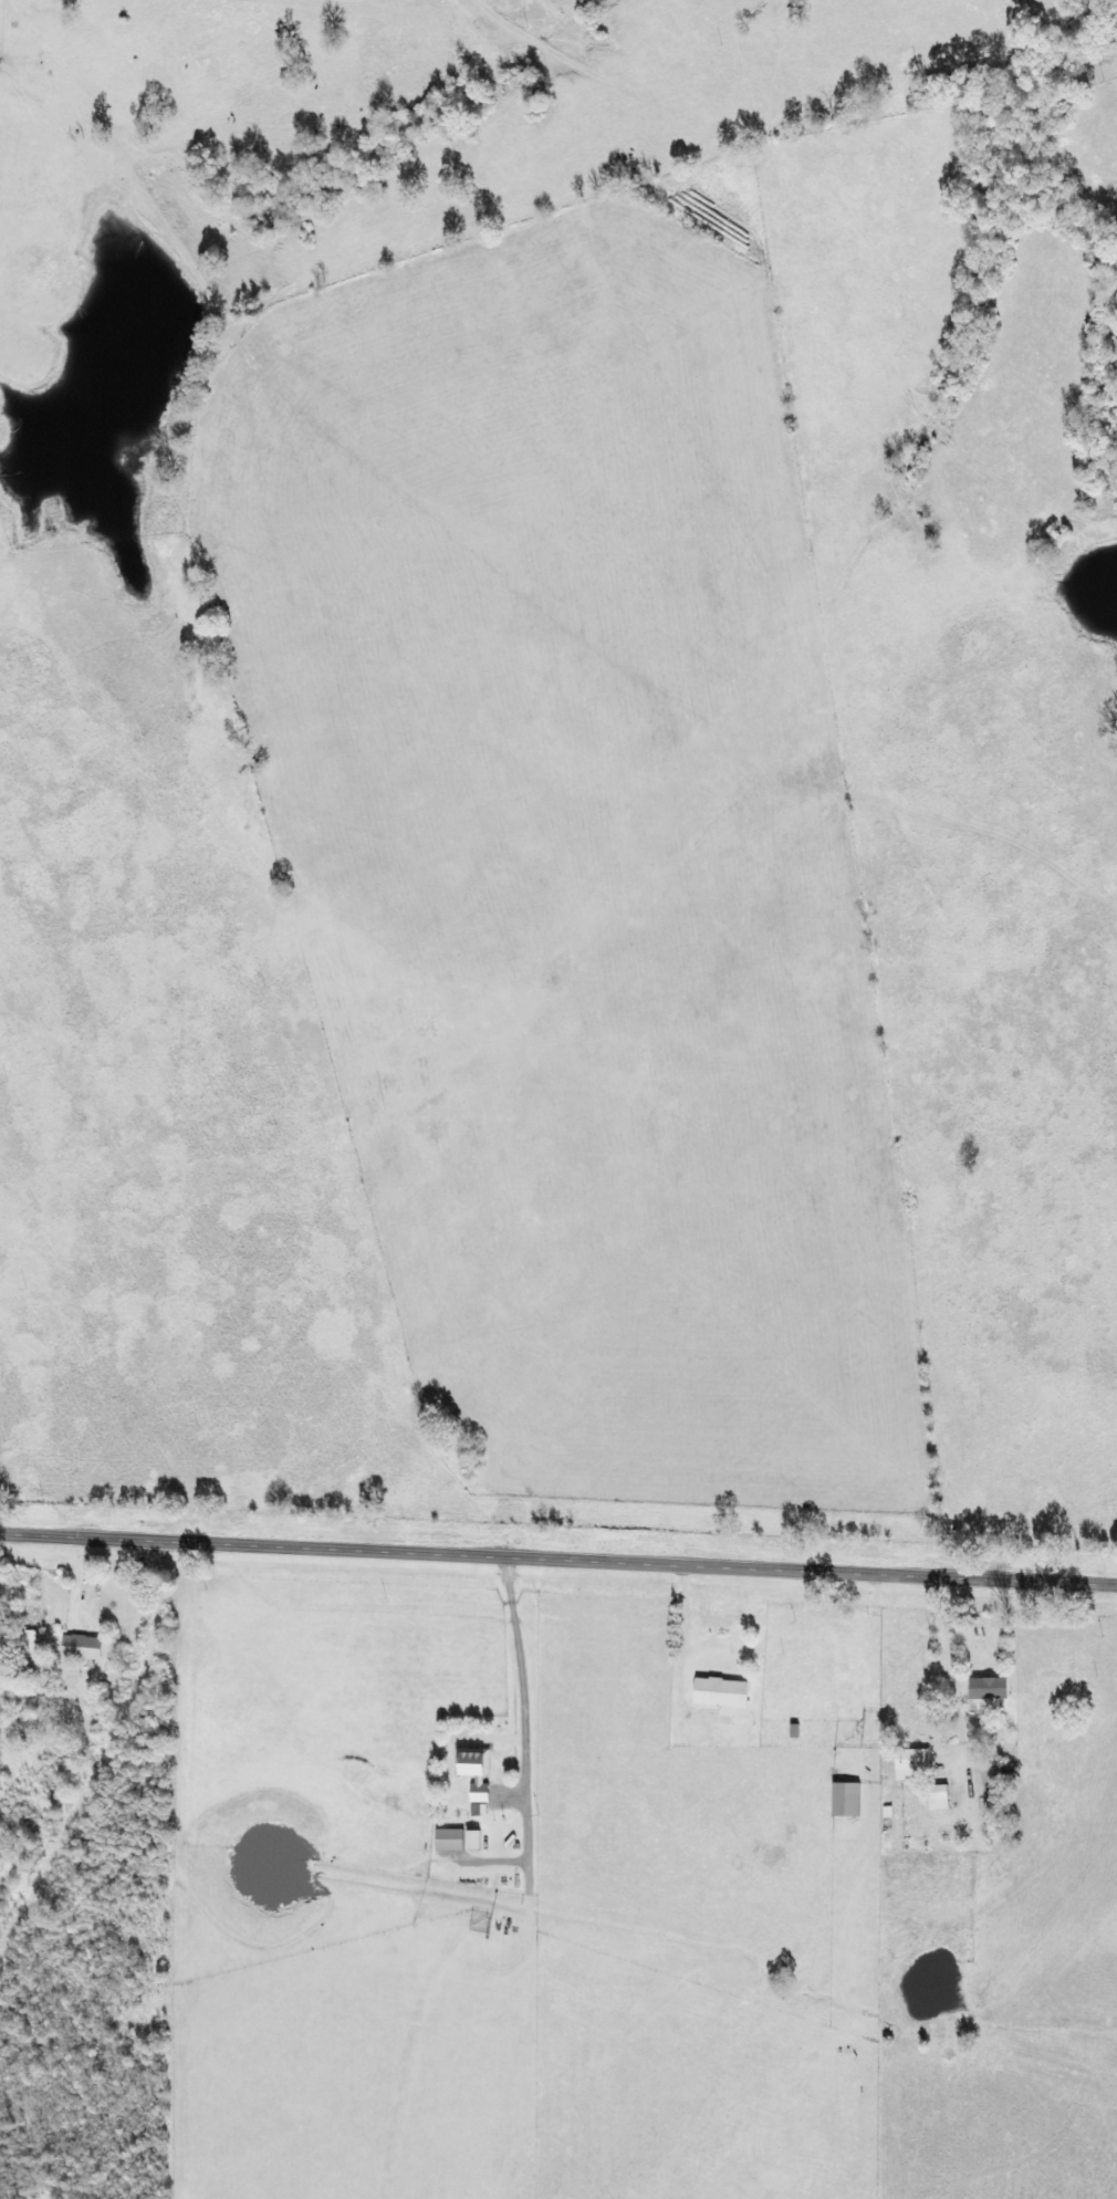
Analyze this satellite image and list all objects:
road: (2, 1514)
road: (557, 1542)
building: (86, 1647)
building: (993, 1691)
building: (727, 1696)
building: (917, 1764)
building: (478, 1771)
building: (850, 1799)
building: (453, 1840)
building: (479, 1840)
road: (116, 1857)

